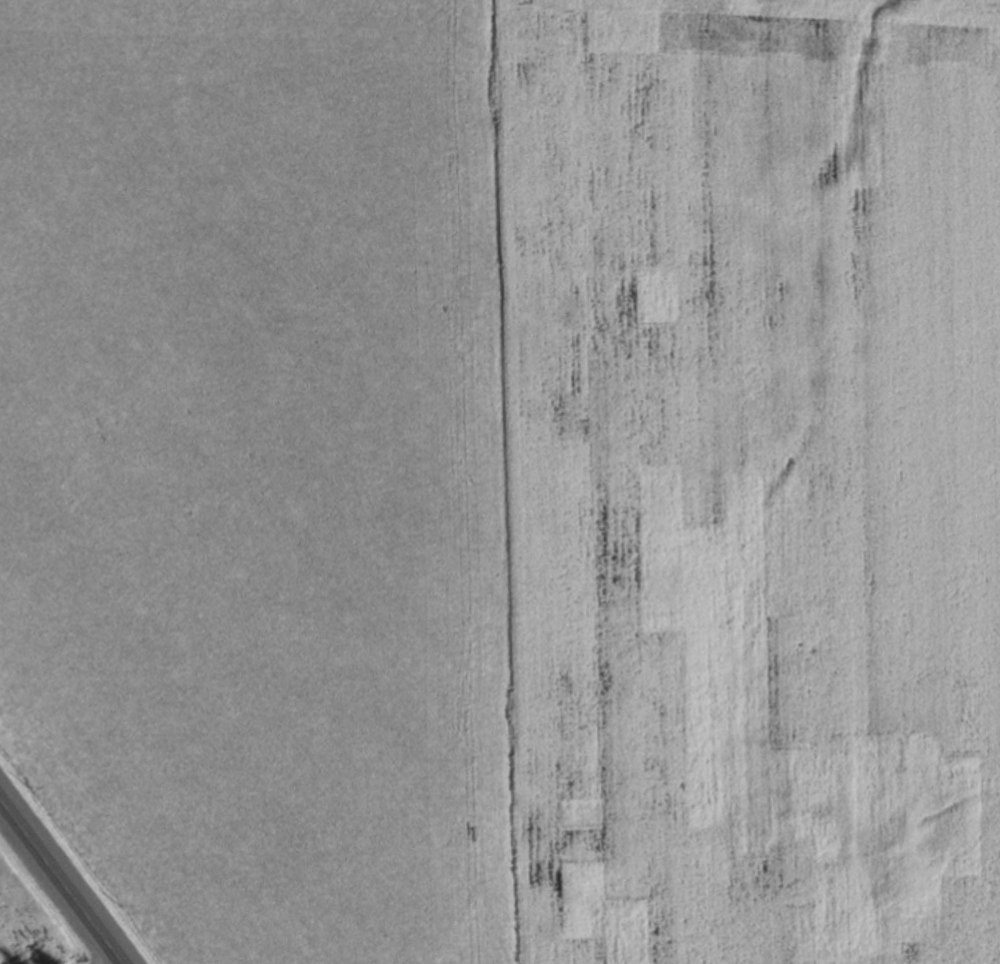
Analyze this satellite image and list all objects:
road: (60, 883)
road: (100, 956)

